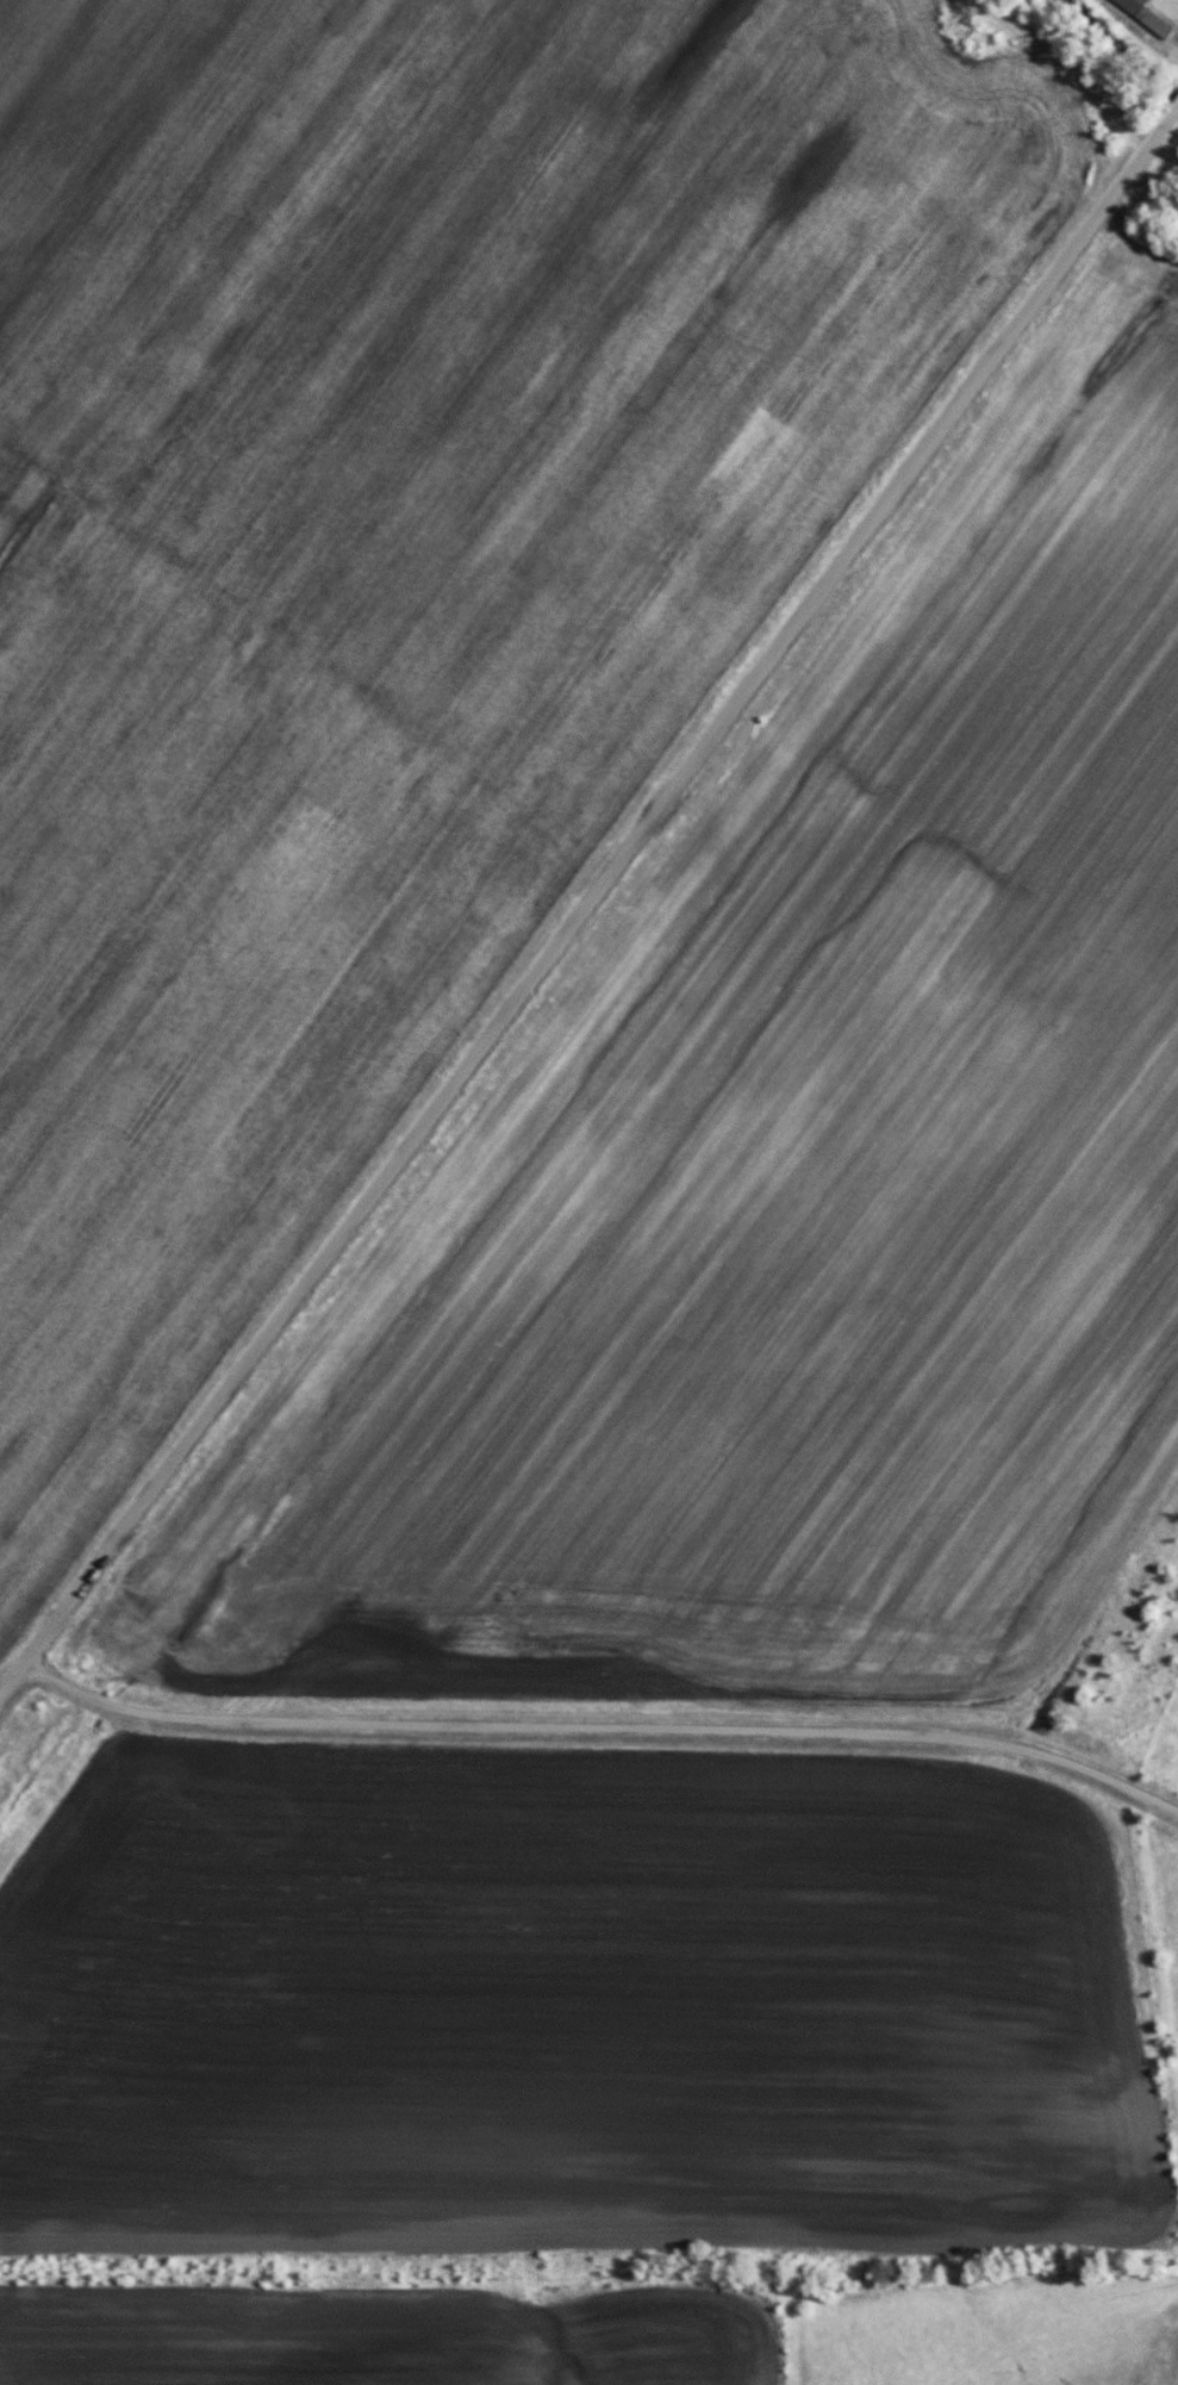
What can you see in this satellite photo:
building: (1146, 15)
crop: (147, 194)
crop: (435, 621)
road: (586, 901)
building: (249, 1040)
crop: (789, 1172)
road: (606, 1724)

